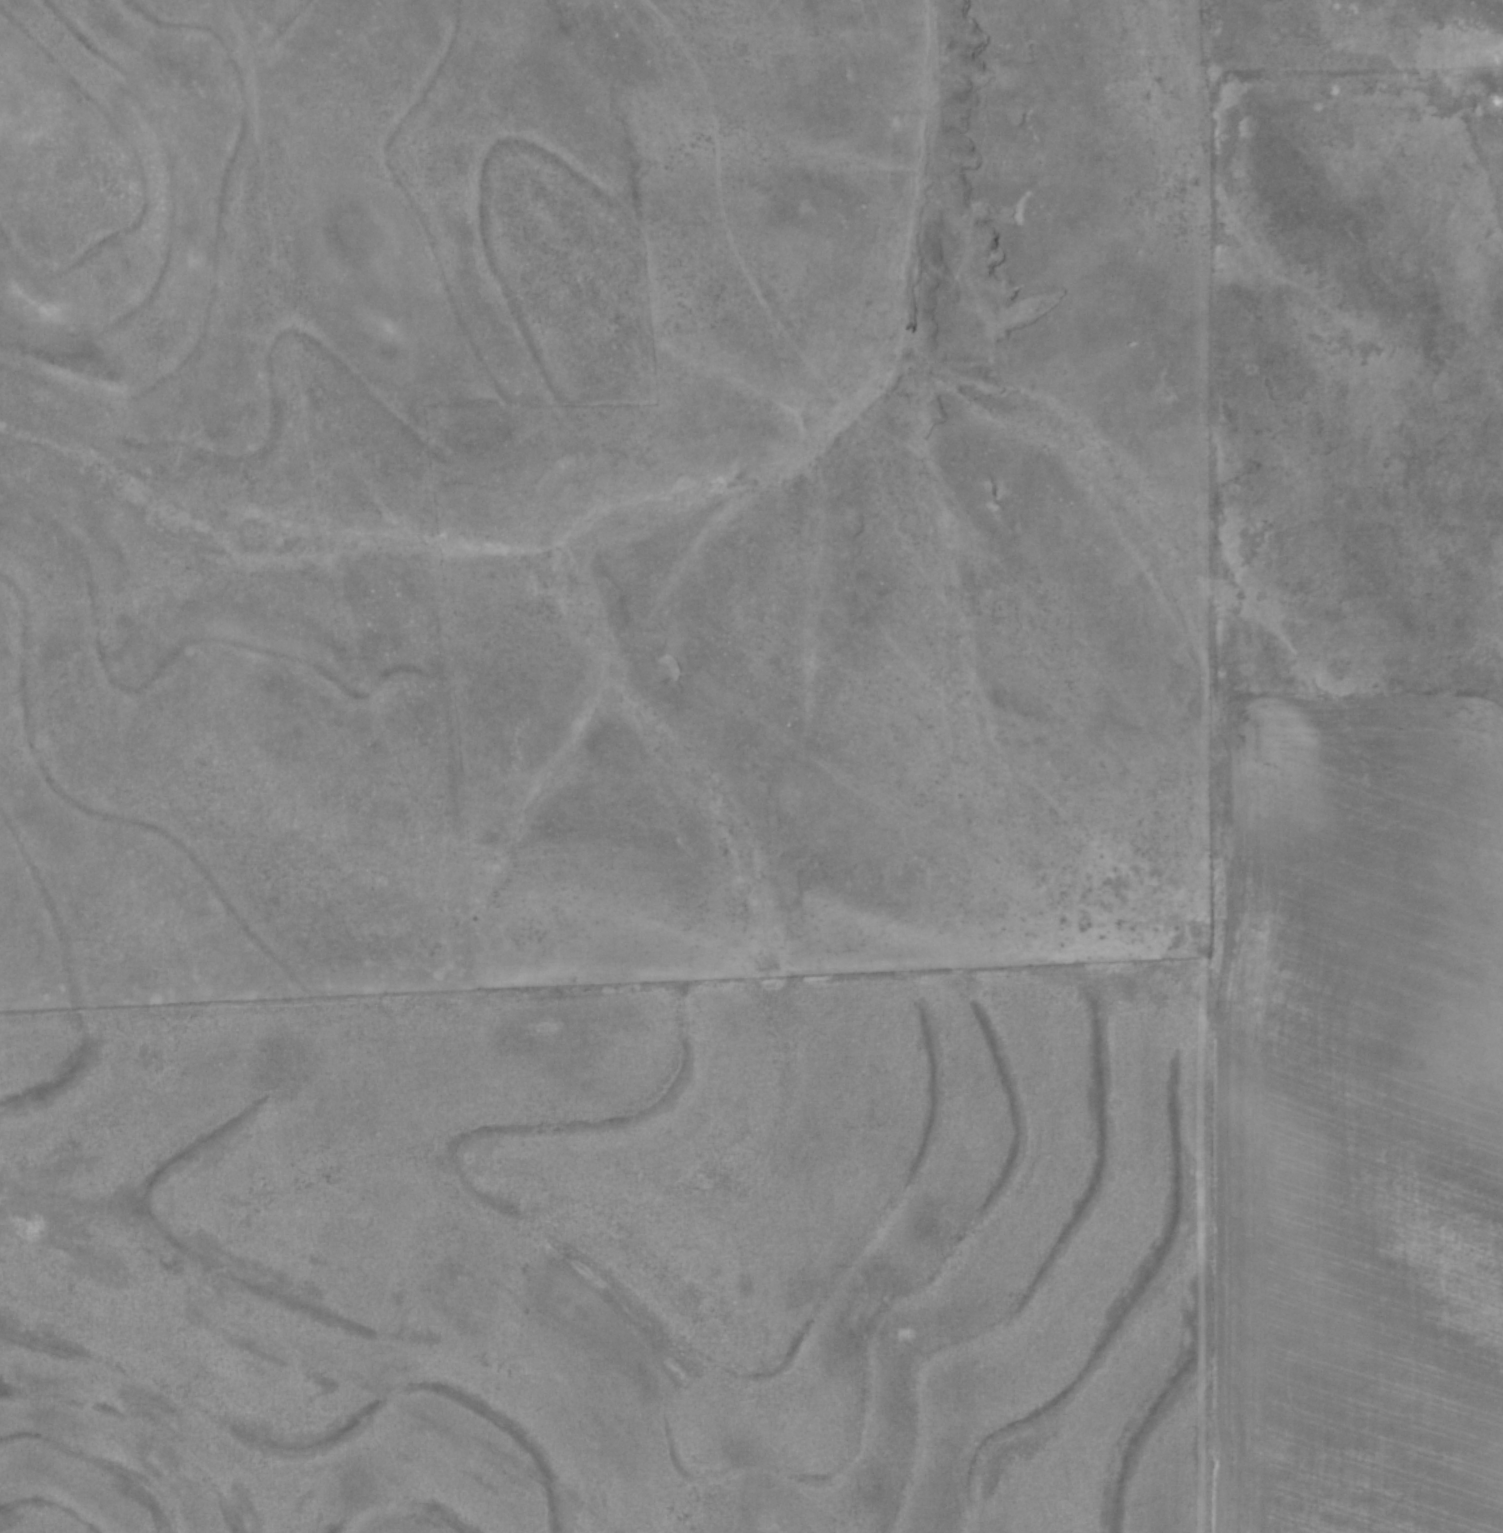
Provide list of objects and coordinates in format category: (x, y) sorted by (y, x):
crop: (1359, 1121)

